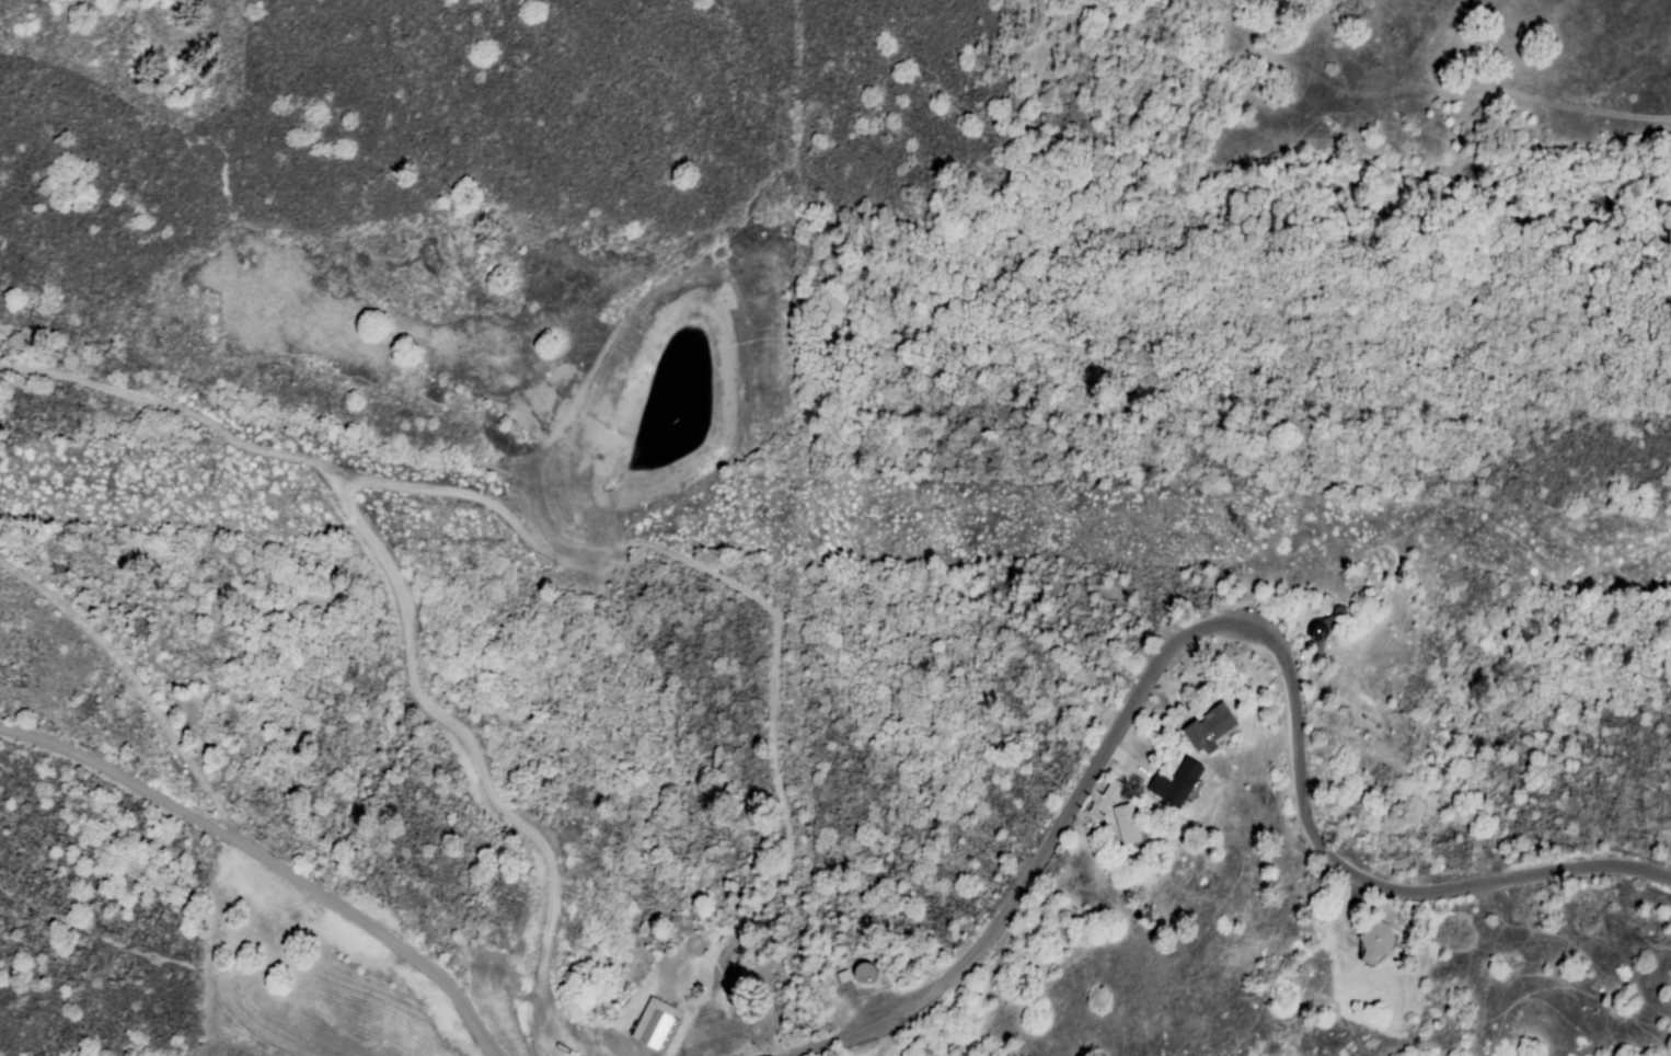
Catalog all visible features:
power tower: (1263, 551)
road: (1217, 623)
building: (1208, 728)
building: (1175, 783)
building: (1109, 789)
road: (1150, 818)
building: (1125, 823)
road: (269, 859)
building: (1374, 943)
building: (655, 1025)

